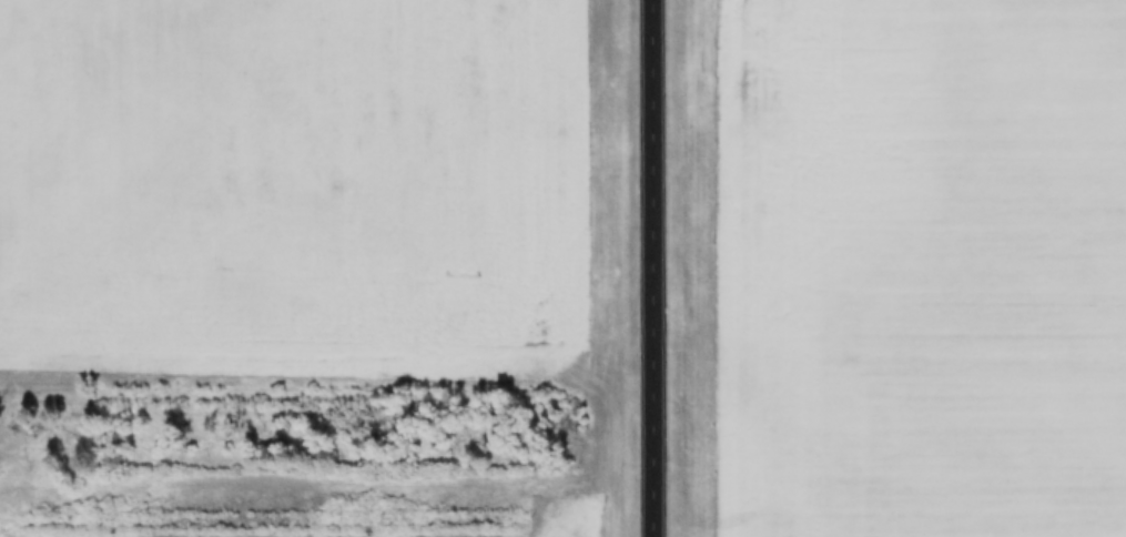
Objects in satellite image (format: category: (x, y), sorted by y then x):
road: (663, 268)

